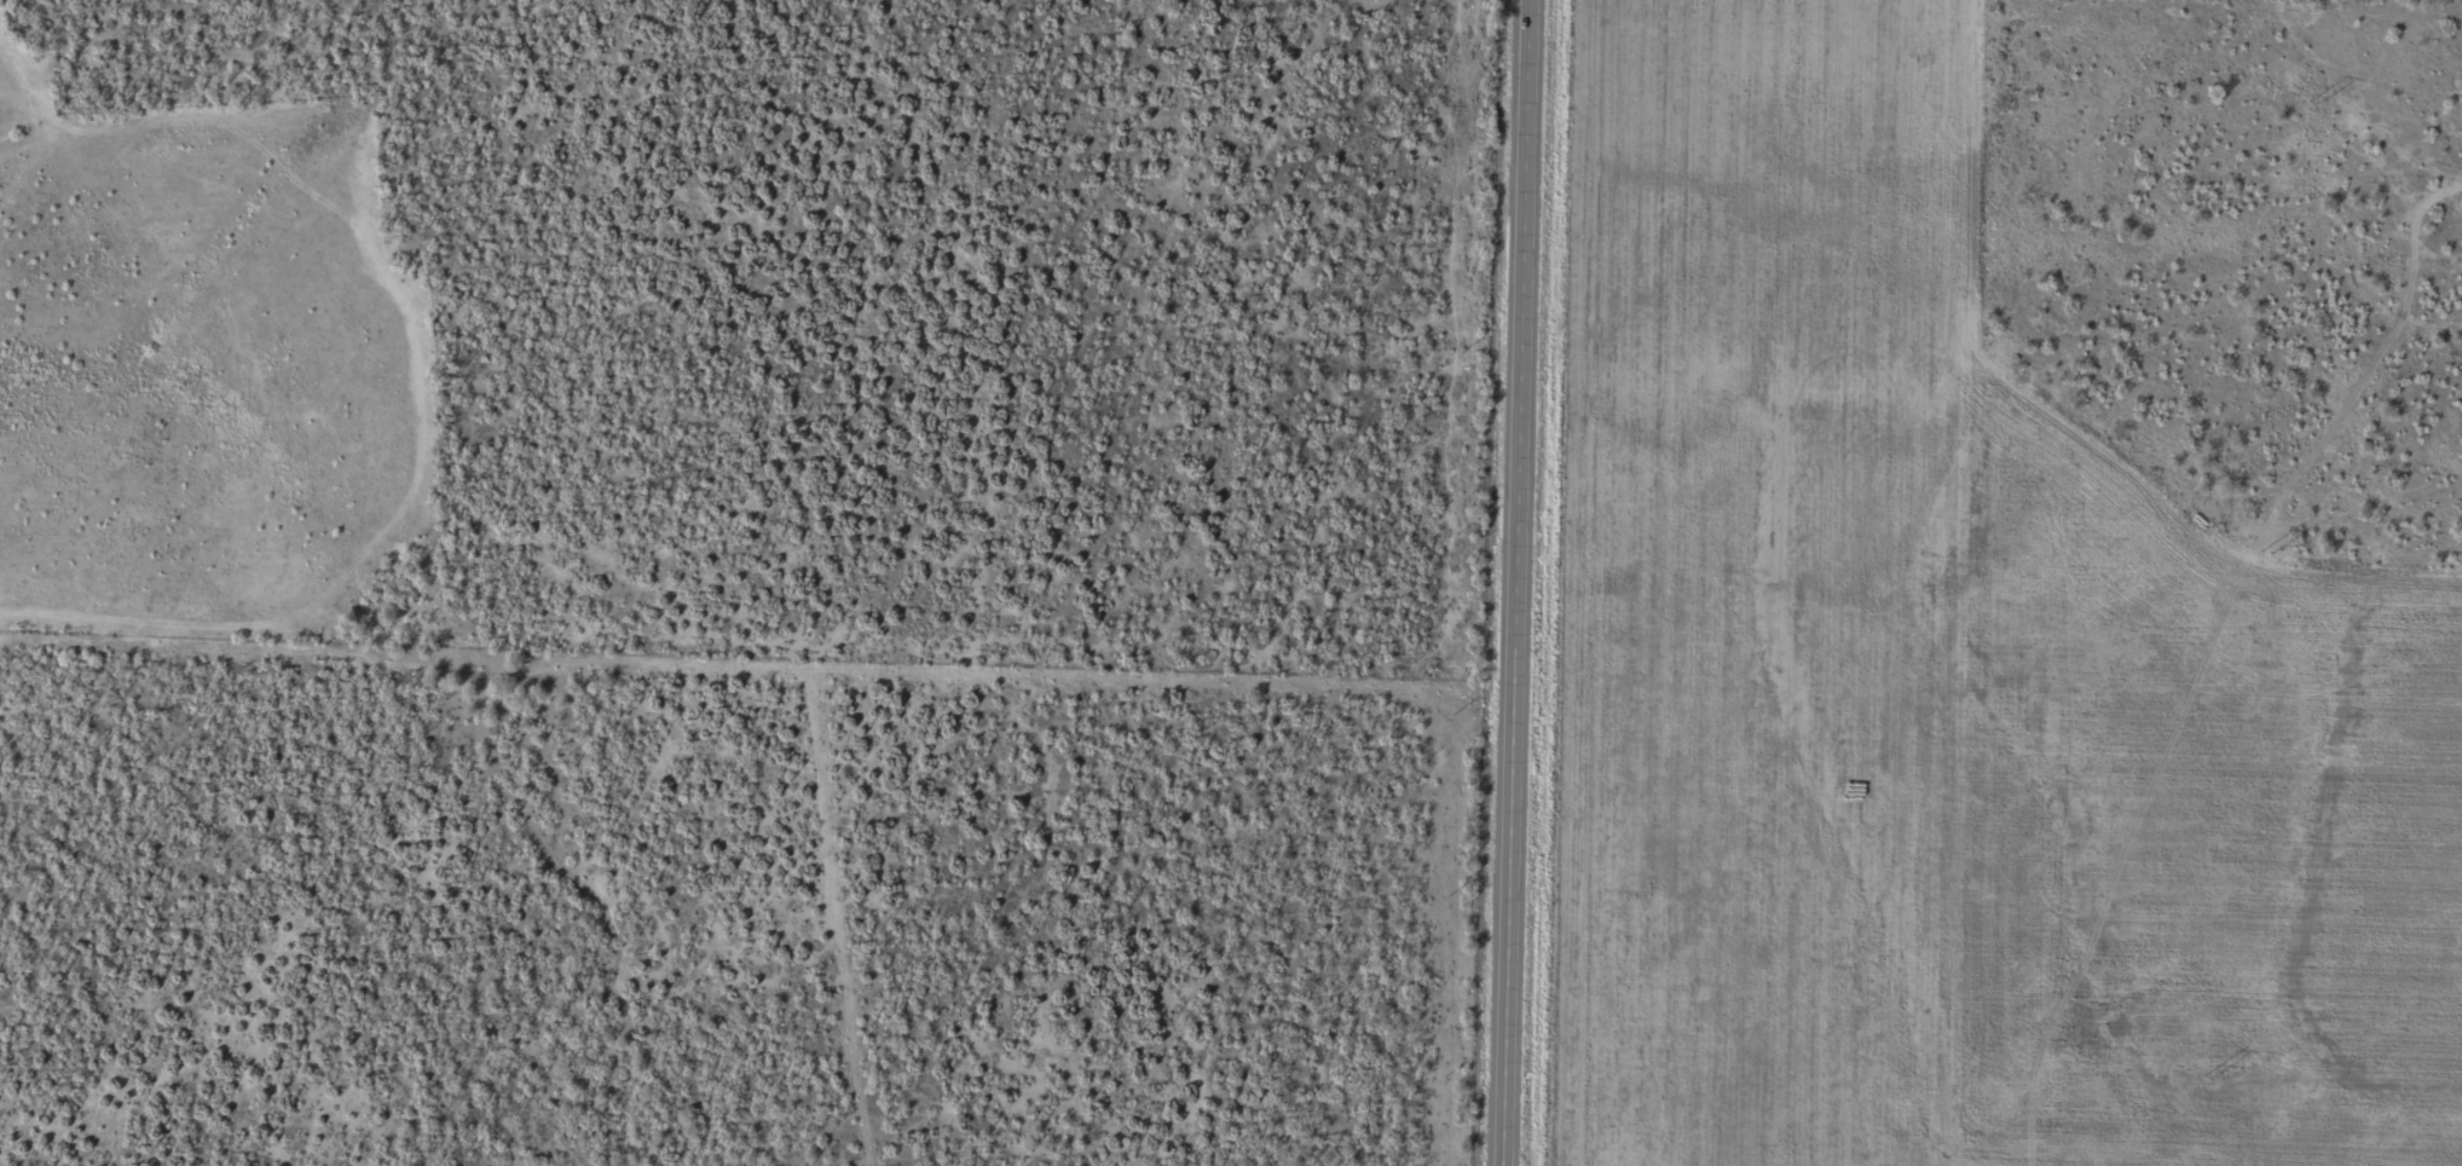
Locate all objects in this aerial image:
power tower: (2316, 104)
power tower: (2266, 552)
road: (1524, 583)
power tower: (2210, 1074)

